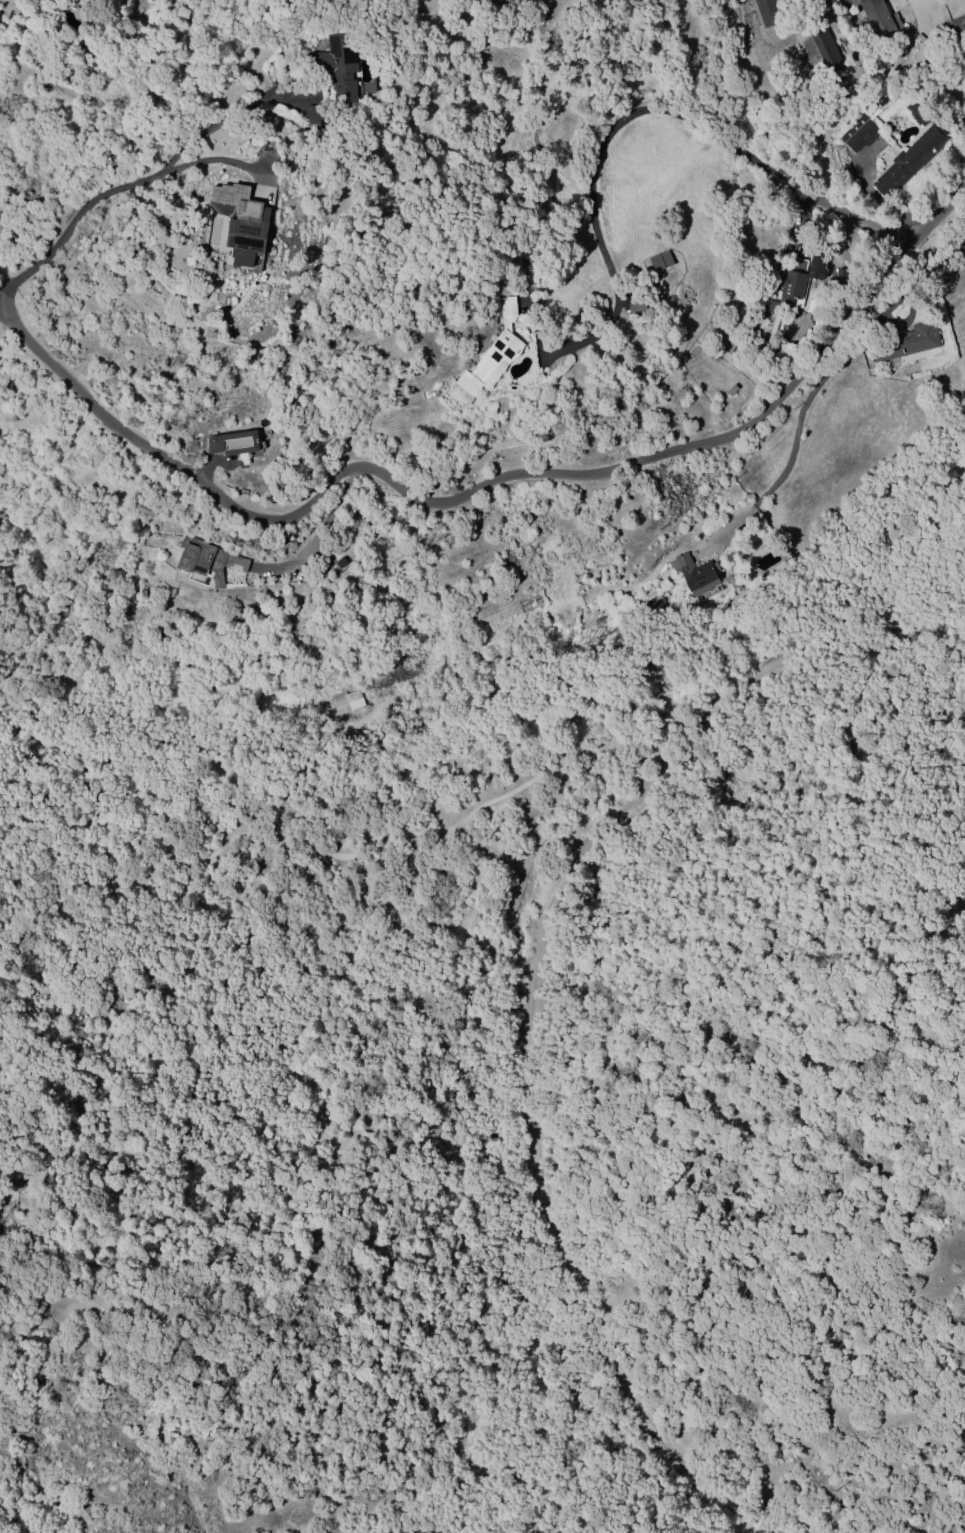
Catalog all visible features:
building: (769, 12)
building: (876, 18)
building: (957, 27)
building: (926, 41)
building: (825, 48)
building: (333, 81)
road: (672, 110)
building: (914, 116)
building: (858, 134)
road: (209, 161)
building: (907, 162)
road: (130, 186)
building: (242, 223)
building: (527, 258)
building: (660, 261)
building: (791, 287)
building: (637, 307)
building: (771, 308)
building: (904, 342)
building: (493, 351)
road: (820, 379)
building: (233, 443)
road: (481, 488)
road: (319, 536)
building: (206, 560)
building: (694, 574)
building: (655, 605)
building: (344, 701)
road: (330, 852)
road: (532, 990)
road: (10, 1153)
road: (554, 1468)

